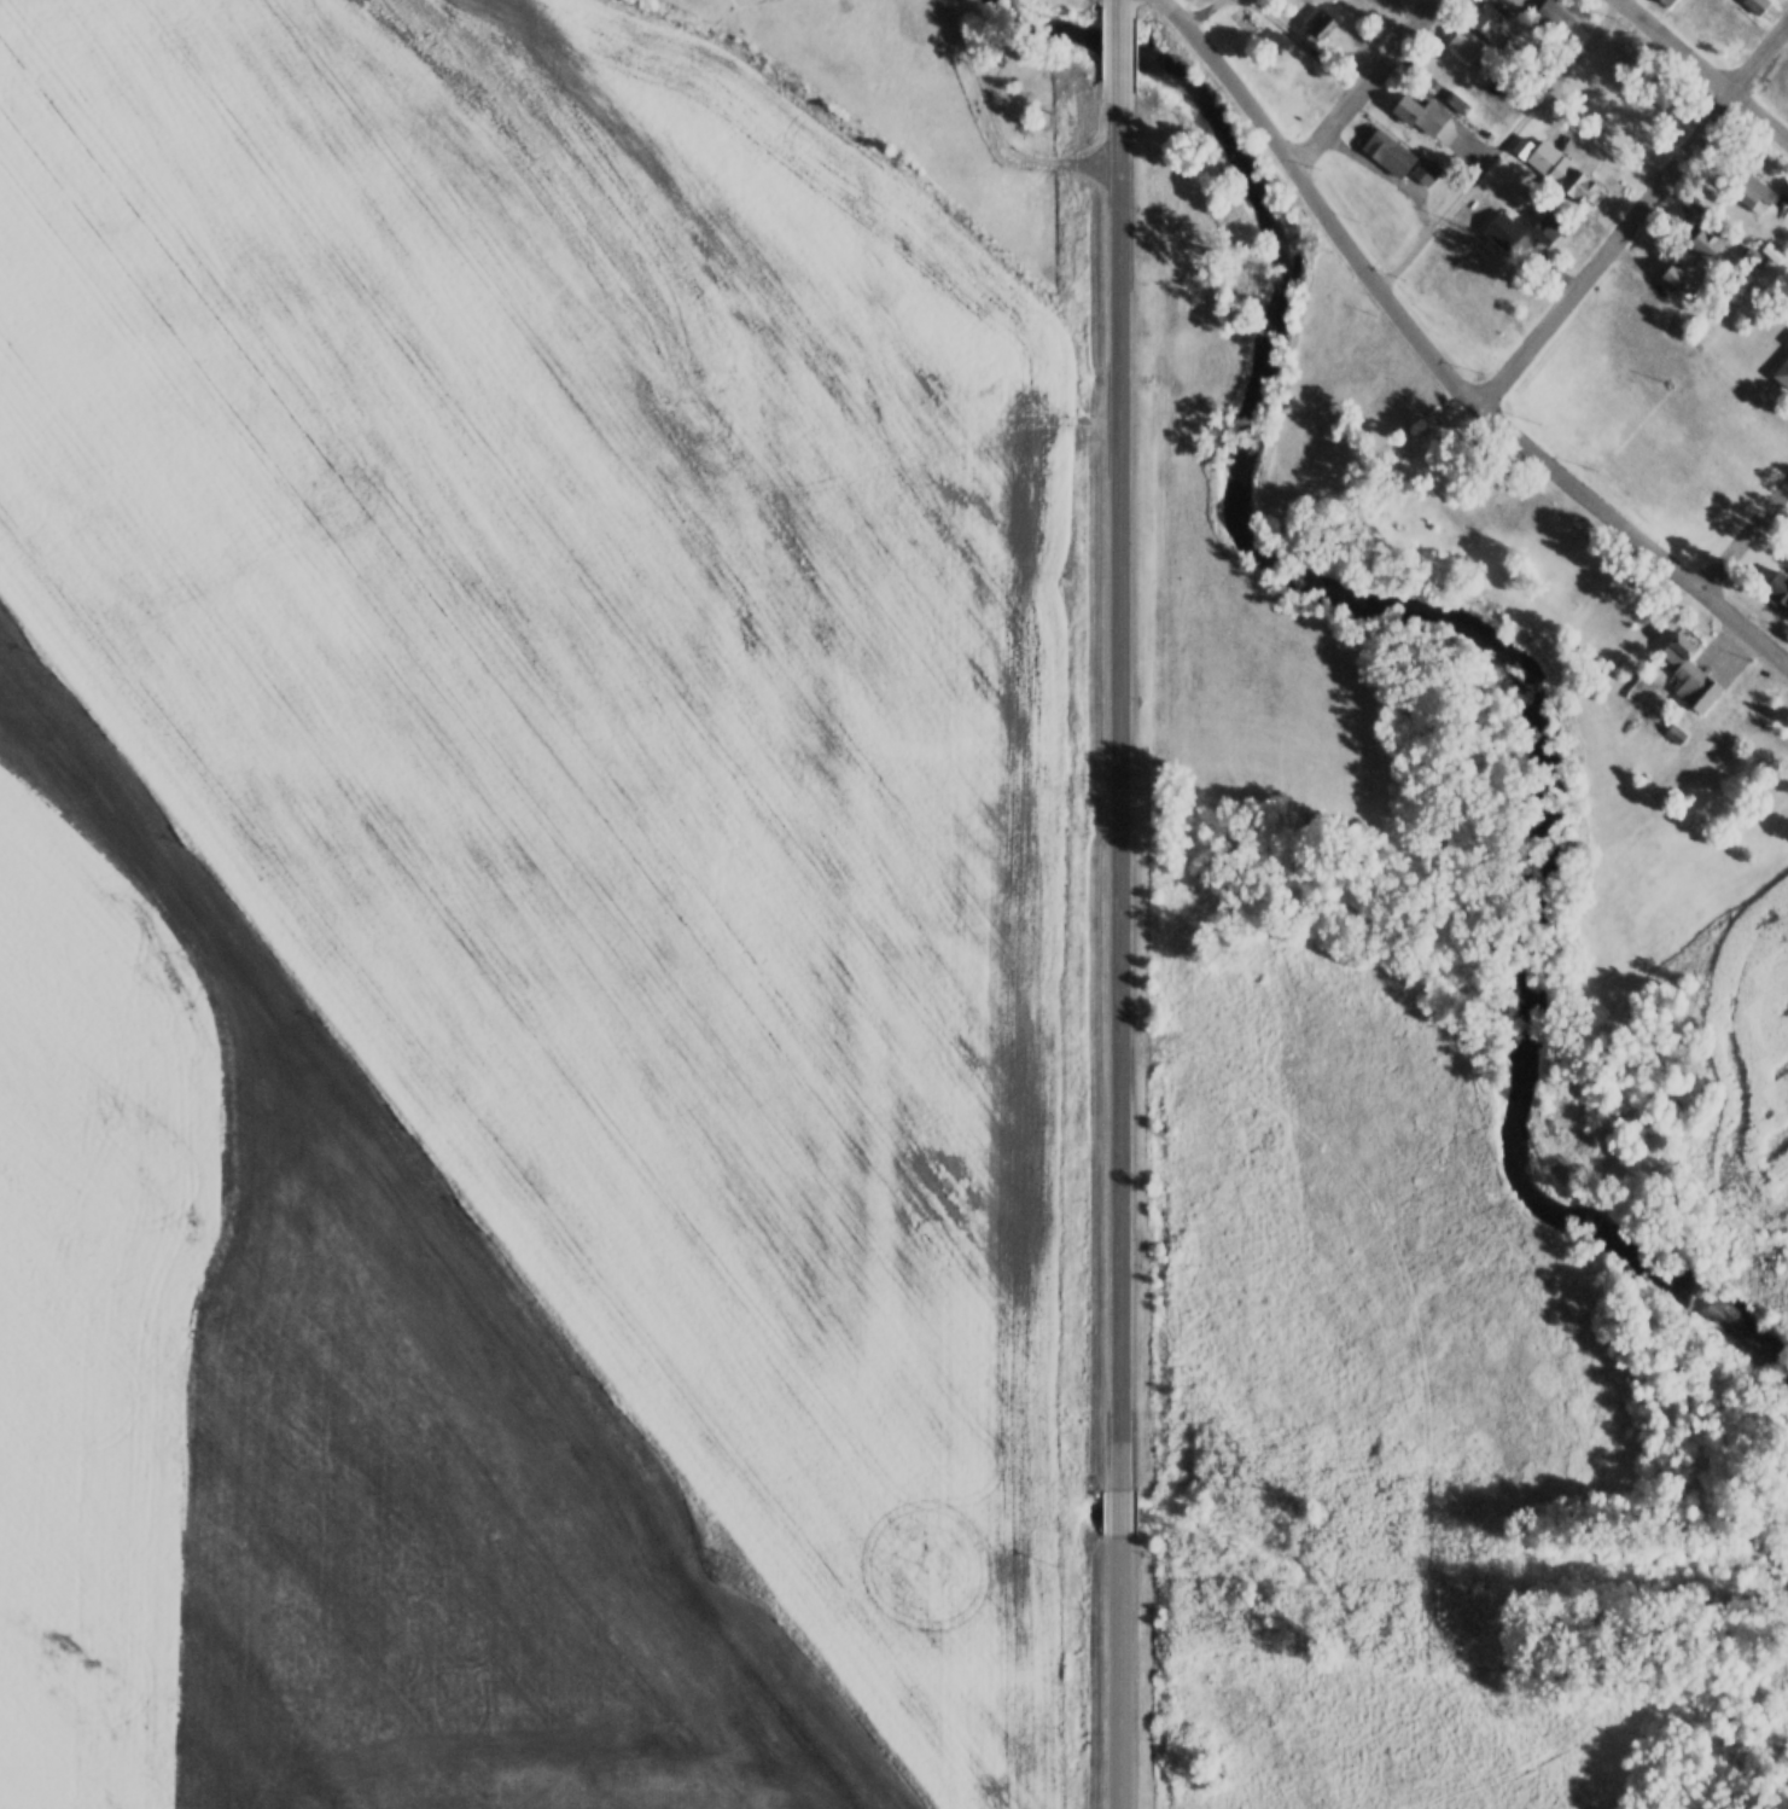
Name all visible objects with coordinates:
building: (1666, 1)
building: (1757, 5)
building: (1554, 13)
building: (1489, 21)
building: (1245, 23)
building: (1321, 23)
building: (1464, 42)
road: (1117, 52)
building: (1625, 54)
road: (1703, 69)
road: (1362, 82)
building: (1656, 91)
building: (1405, 106)
road: (1499, 144)
building: (1386, 150)
building: (1555, 168)
building: (1425, 170)
building: (1749, 191)
road: (1633, 211)
building: (1547, 225)
building: (1501, 228)
building: (1703, 243)
building: (1752, 256)
building: (1672, 275)
building: (1787, 343)
road: (1439, 365)
building: (1782, 371)
building: (1534, 530)
road: (1743, 536)
building: (1774, 591)
river: (1463, 627)
building: (1688, 675)
building: (1673, 732)
road: (1122, 831)
road: (1125, 1683)

